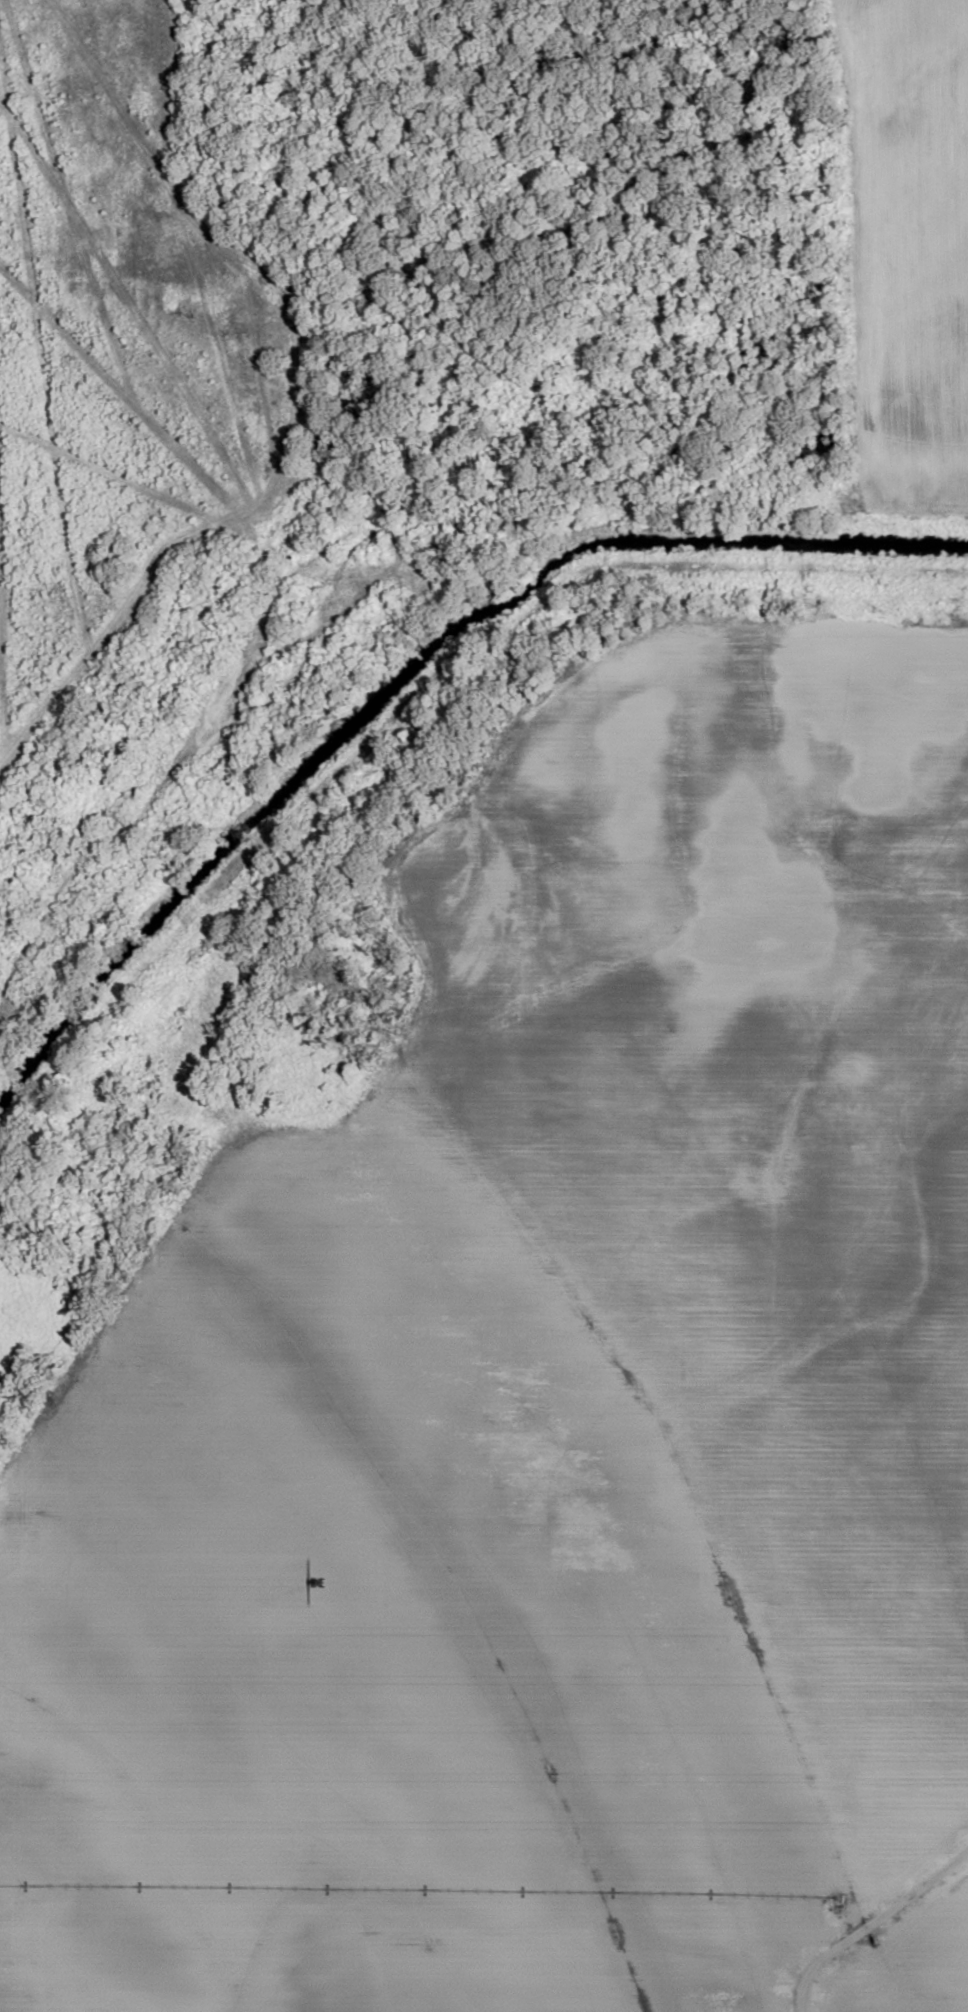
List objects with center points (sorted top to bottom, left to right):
road: (915, 484)
road: (870, 1922)

